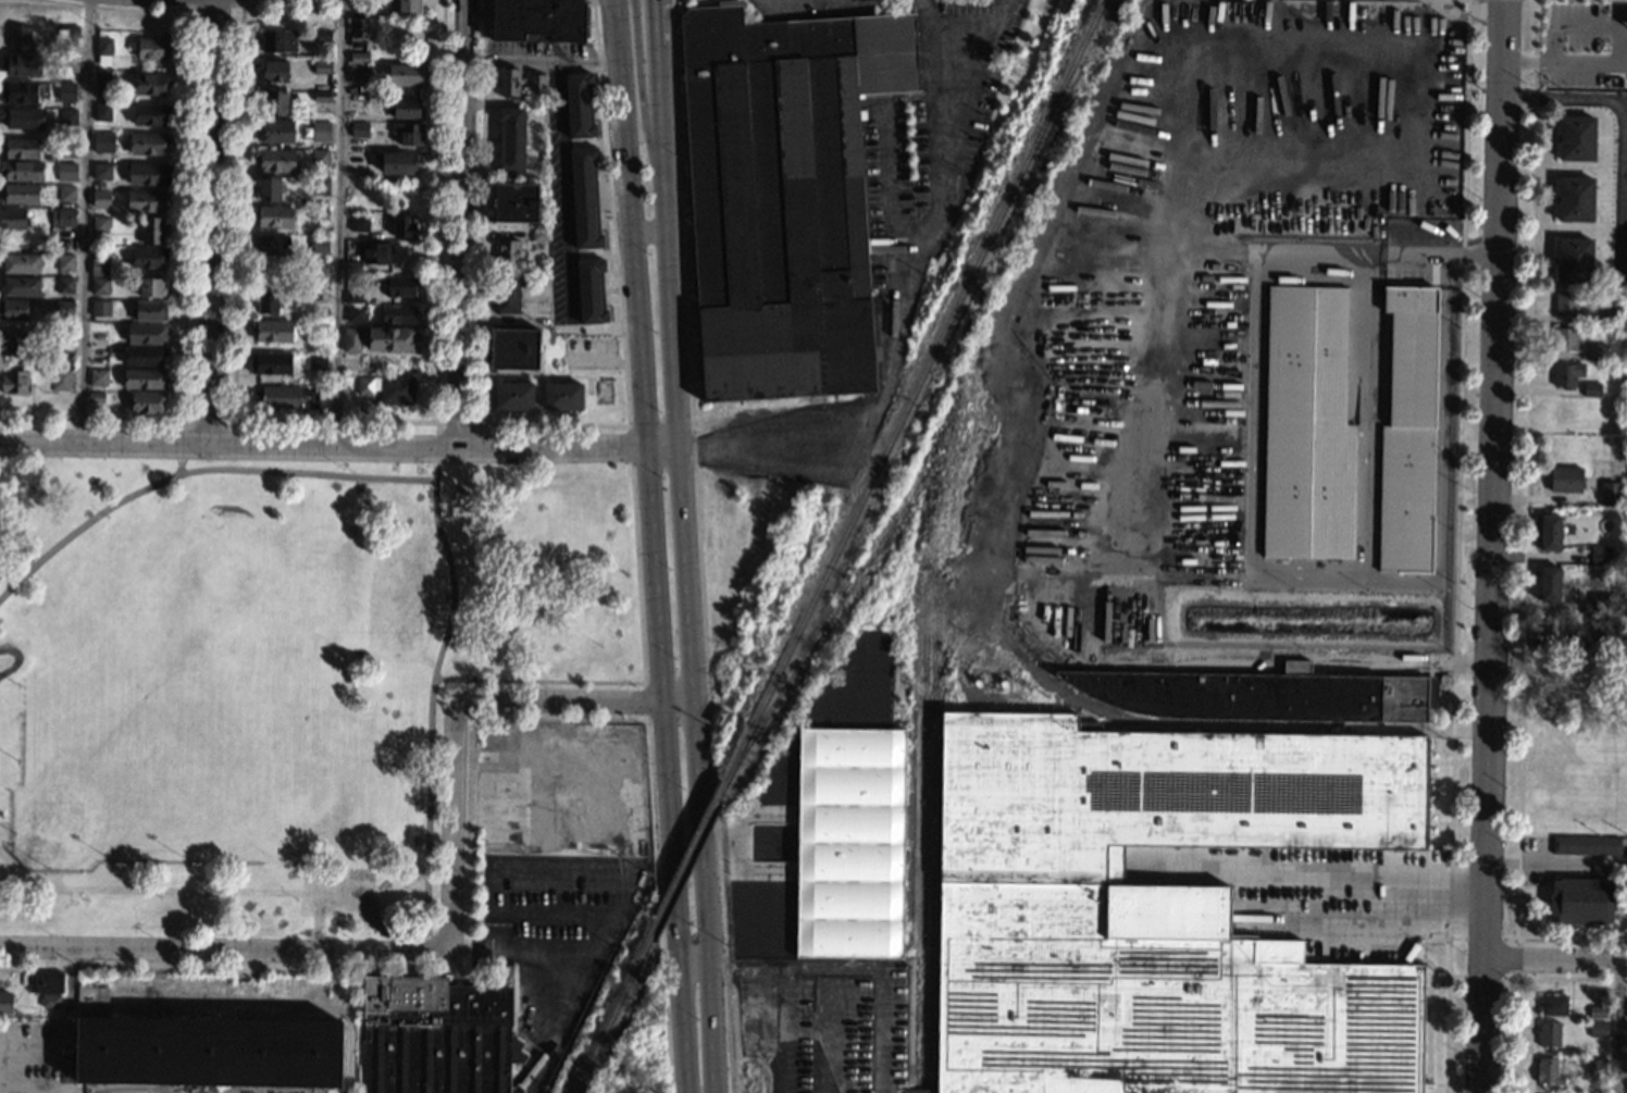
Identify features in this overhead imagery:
traffic signals: (1503, 0)
building: (361, 5)
building: (409, 5)
road: (611, 5)
road: (213, 7)
building: (538, 21)
road: (656, 22)
building: (361, 28)
road: (947, 29)
building: (70, 34)
building: (322, 35)
building: (20, 36)
building: (278, 41)
building: (103, 47)
building: (152, 48)
building: (359, 58)
road: (541, 62)
building: (69, 63)
building: (21, 65)
building: (322, 66)
building: (273, 71)
building: (359, 73)
building: (406, 74)
building: (509, 82)
building: (101, 83)
building: (150, 83)
building: (536, 83)
building: (67, 90)
building: (18, 92)
road: (641, 92)
building: (321, 97)
building: (273, 102)
building: (579, 104)
building: (406, 109)
building: (102, 111)
building: (149, 114)
building: (67, 116)
building: (22, 117)
road: (1623, 122)
building: (359, 129)
building: (321, 131)
building: (276, 132)
building: (409, 133)
building: (1577, 138)
building: (510, 139)
building: (103, 142)
building: (148, 144)
building: (20, 148)
building: (69, 148)
building: (320, 158)
building: (275, 160)
building: (401, 162)
building: (355, 163)
building: (22, 170)
building: (102, 171)
building: (66, 172)
building: (148, 174)
building: (101, 186)
building: (321, 186)
building: (269, 188)
building: (357, 192)
road: (933, 192)
building: (18, 194)
building: (66, 194)
building: (100, 198)
building: (585, 198)
building: (783, 198)
building: (1575, 199)
building: (146, 200)
building: (514, 202)
building: (319, 213)
building: (273, 216)
building: (62, 218)
building: (12, 219)
road: (85, 221)
road: (211, 221)
road: (337, 222)
building: (359, 223)
building: (100, 224)
road: (460, 224)
building: (403, 226)
road: (570, 227)
road: (650, 227)
building: (152, 231)
road: (184, 231)
building: (539, 235)
building: (272, 244)
building: (320, 244)
building: (376, 252)
building: (508, 252)
road: (1364, 253)
building: (148, 257)
building: (1574, 260)
building: (65, 262)
building: (21, 263)
building: (318, 265)
building: (352, 266)
building: (99, 268)
building: (268, 270)
building: (65, 285)
building: (21, 286)
building: (99, 286)
building: (400, 286)
building: (151, 288)
building: (591, 290)
building: (507, 295)
building: (353, 297)
building: (268, 302)
building: (1566, 303)
building: (64, 308)
building: (100, 308)
building: (13, 310)
building: (149, 311)
building: (1612, 313)
building: (356, 314)
building: (397, 314)
building: (272, 331)
building: (146, 333)
building: (392, 338)
building: (1565, 338)
building: (351, 339)
building: (15, 344)
building: (64, 344)
building: (513, 349)
building: (99, 351)
building: (1598, 351)
building: (144, 356)
building: (316, 361)
building: (271, 363)
building: (1625, 369)
building: (1564, 375)
building: (98, 377)
building: (145, 378)
building: (61, 380)
building: (14, 382)
building: (606, 385)
building: (1626, 387)
railway: (916, 388)
building: (387, 389)
building: (1591, 389)
building: (513, 396)
building: (96, 397)
building: (286, 397)
building: (563, 397)
building: (147, 401)
building: (1564, 411)
road: (186, 420)
road: (315, 422)
road: (434, 424)
building: (1595, 424)
road: (552, 425)
road: (635, 425)
building: (1307, 427)
building: (1408, 430)
building: (1212, 434)
road: (786, 436)
road: (337, 446)
road: (181, 468)
road: (397, 477)
building: (1565, 480)
road: (163, 483)
building: (1610, 494)
road: (435, 497)
building: (1550, 532)
road: (654, 546)
road: (696, 546)
road: (1456, 546)
road: (1493, 546)
building: (1600, 555)
road: (683, 569)
park: (227, 575)
building: (1548, 584)
building: (1599, 603)
road: (450, 606)
road: (1127, 614)
railway: (822, 629)
building: (1603, 637)
park: (277, 671)
road: (642, 682)
railway: (1061, 691)
building: (1262, 695)
road: (574, 703)
road: (643, 703)
railway: (910, 709)
building: (579, 731)
railway: (723, 786)
park: (94, 793)
building: (496, 797)
road: (649, 821)
road: (452, 828)
building: (849, 836)
building: (1586, 845)
railway: (686, 862)
road: (1556, 864)
building: (360, 874)
road: (1339, 880)
road: (312, 894)
road: (427, 902)
building: (1581, 902)
building: (364, 908)
building: (1157, 911)
road: (224, 948)
road: (596, 949)
road: (696, 955)
road: (1556, 964)
building: (47, 988)
building: (4, 1003)
building: (1553, 1005)
building: (1597, 1011)
railway: (611, 1021)
road: (567, 1023)
road: (1618, 1029)
building: (1598, 1030)
building: (1549, 1034)
building: (437, 1039)
building: (202, 1049)
railway: (350, 1051)
building: (1595, 1067)
building: (1549, 1071)

